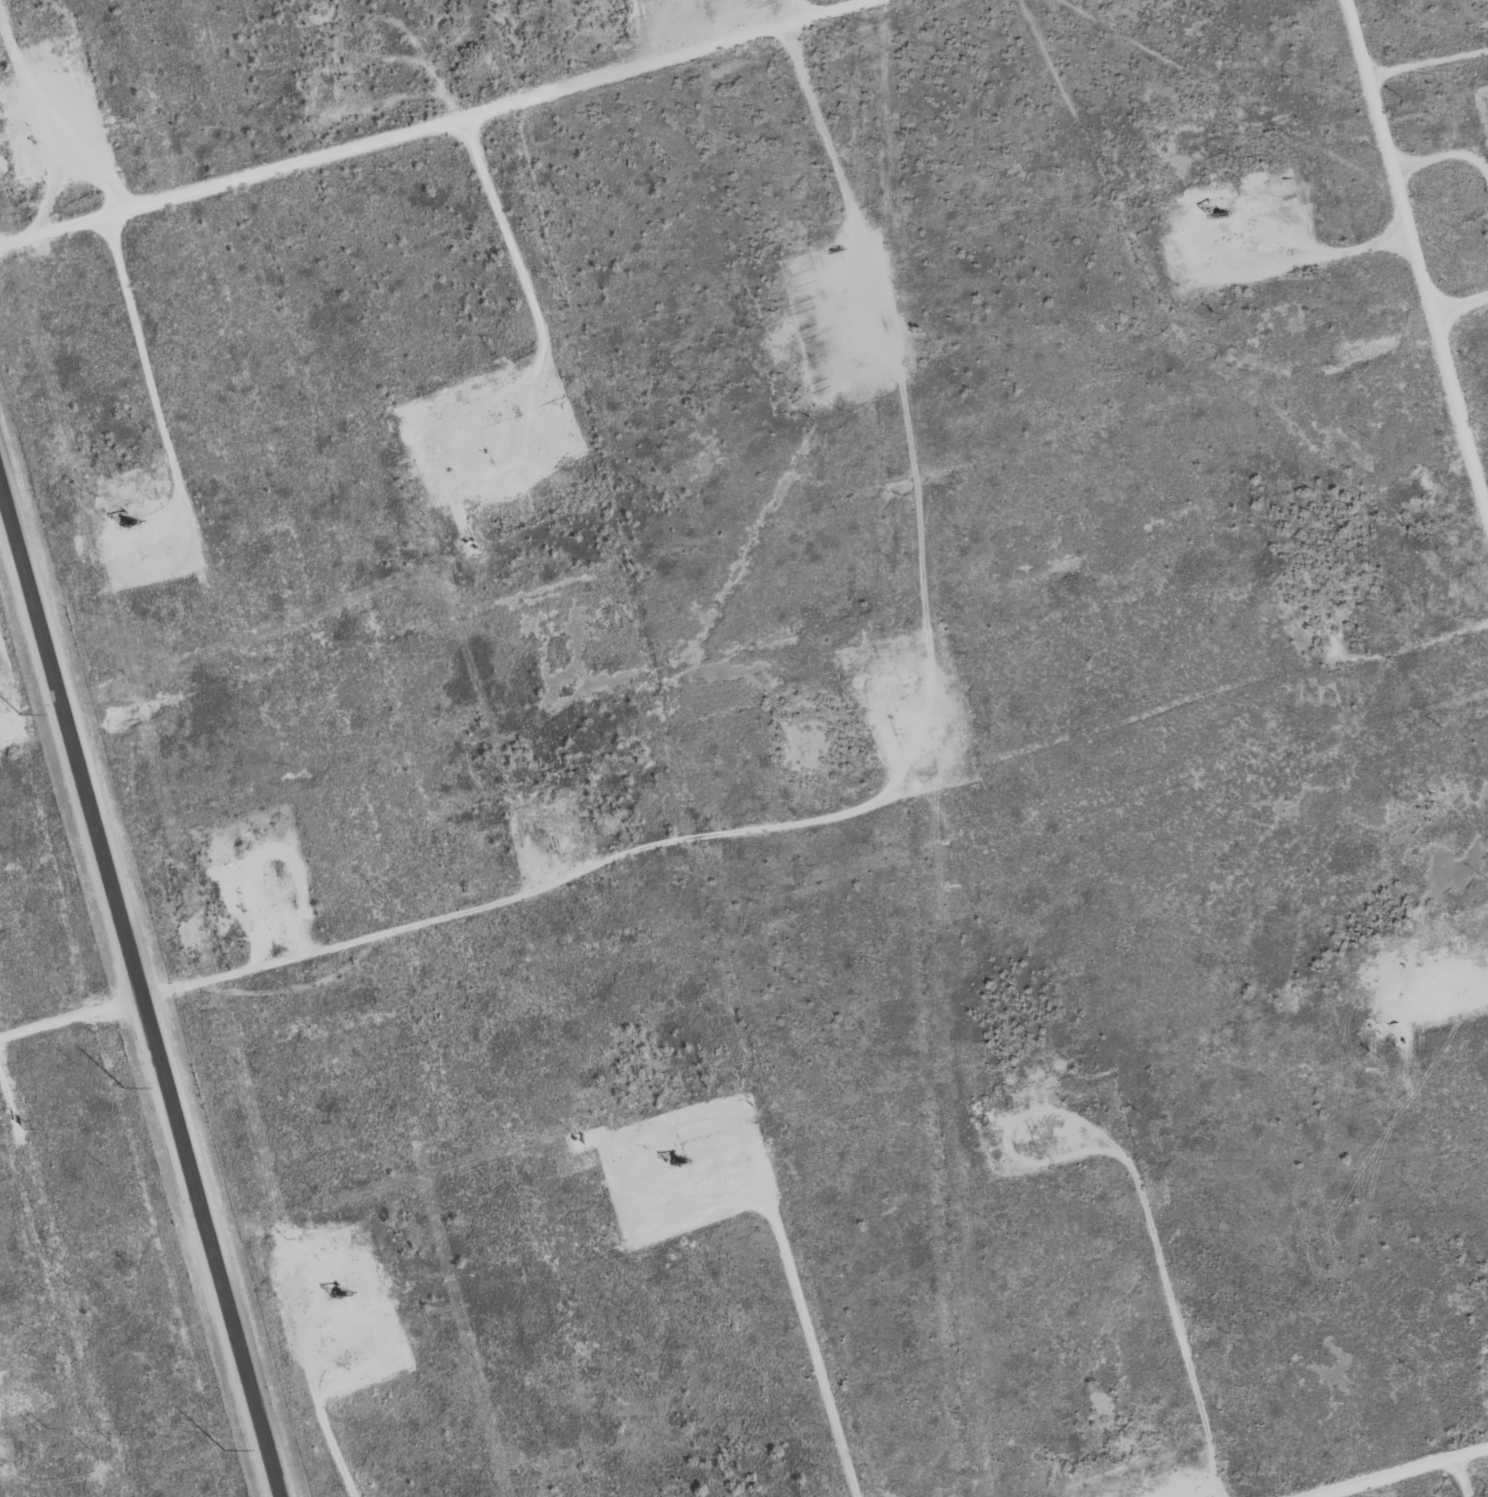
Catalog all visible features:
road: (424, 120)
road: (1419, 260)
road: (1460, 299)
road: (448, 909)
road: (138, 994)
power tower: (41, 1430)
road: (1387, 1468)

